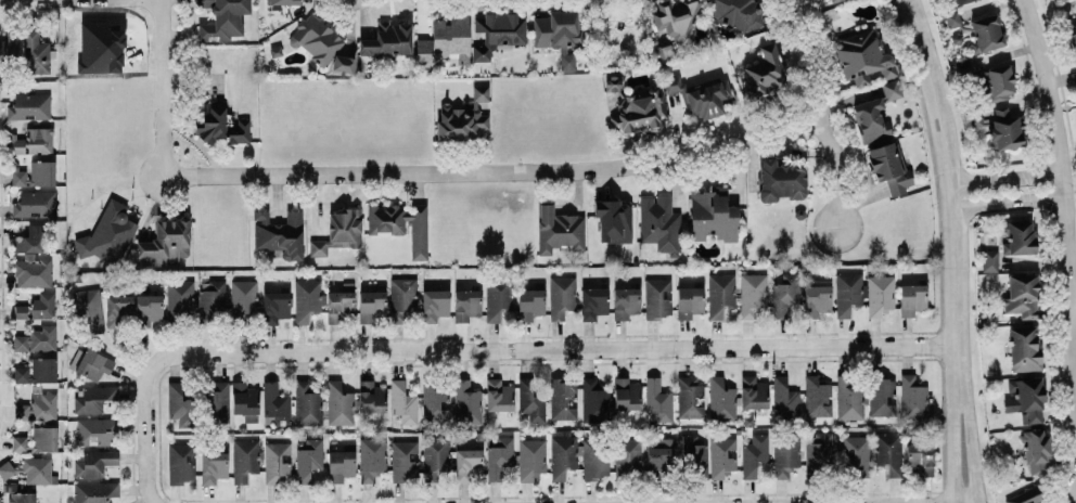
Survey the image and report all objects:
building: (832, 0)
building: (283, 1)
building: (960, 1)
building: (736, 13)
building: (670, 15)
building: (222, 18)
building: (952, 18)
building: (558, 28)
building: (987, 31)
building: (498, 33)
building: (1071, 33)
building: (316, 39)
building: (388, 39)
building: (446, 40)
building: (9, 47)
building: (35, 52)
building: (862, 56)
building: (567, 61)
building: (343, 63)
building: (763, 70)
building: (997, 81)
building: (613, 83)
road: (159, 88)
building: (891, 89)
building: (700, 95)
building: (29, 106)
building: (640, 108)
road: (824, 109)
building: (464, 118)
building: (871, 119)
building: (213, 121)
building: (1001, 126)
building: (239, 131)
park: (1073, 133)
building: (34, 141)
building: (889, 166)
road: (497, 168)
road: (947, 169)
building: (35, 173)
road: (1005, 177)
building: (781, 179)
road: (1065, 203)
building: (35, 204)
road: (1008, 204)
building: (713, 215)
building: (614, 220)
building: (400, 223)
building: (659, 223)
building: (559, 229)
building: (340, 231)
building: (111, 233)
building: (279, 233)
building: (1020, 237)
building: (31, 240)
building: (165, 243)
building: (989, 259)
building: (33, 271)
building: (847, 292)
building: (720, 294)
building: (752, 294)
building: (785, 294)
building: (880, 294)
building: (1022, 295)
building: (497, 296)
building: (561, 296)
building: (657, 297)
building: (817, 297)
building: (179, 298)
building: (243, 298)
building: (306, 298)
building: (912, 298)
building: (401, 300)
building: (87, 301)
building: (212, 301)
building: (593, 301)
building: (626, 301)
building: (689, 301)
building: (530, 302)
building: (434, 304)
building: (466, 304)
building: (42, 305)
building: (338, 305)
building: (371, 305)
building: (276, 306)
road: (1072, 306)
building: (148, 309)
building: (118, 310)
building: (20, 311)
building: (37, 339)
building: (1024, 348)
road: (482, 349)
building: (76, 359)
building: (94, 364)
building: (37, 371)
building: (753, 392)
building: (626, 394)
building: (499, 395)
building: (690, 396)
building: (817, 396)
building: (881, 396)
building: (372, 397)
building: (849, 397)
building: (912, 397)
building: (94, 398)
building: (244, 398)
building: (562, 398)
building: (217, 399)
building: (721, 399)
building: (785, 399)
building: (1026, 399)
building: (402, 400)
building: (530, 400)
building: (657, 400)
building: (434, 401)
building: (593, 401)
building: (466, 402)
building: (180, 403)
building: (307, 403)
building: (340, 403)
building: (43, 404)
building: (276, 404)
building: (22, 411)
road: (952, 423)
road: (966, 423)
building: (95, 430)
building: (44, 438)
building: (20, 442)
building: (818, 450)
building: (1037, 451)
building: (785, 452)
building: (888, 452)
building: (562, 454)
building: (754, 454)
building: (722, 455)
building: (856, 455)
building: (499, 456)
building: (659, 456)
building: (372, 457)
building: (595, 457)
building: (627, 457)
building: (693, 457)
building: (919, 457)
building: (244, 459)
building: (308, 459)
building: (435, 459)
building: (403, 460)
building: (531, 460)
building: (93, 462)
building: (180, 462)
building: (277, 463)
building: (469, 464)
building: (341, 465)
building: (213, 466)
building: (7, 469)
building: (37, 469)
building: (94, 491)
building: (1025, 495)
building: (23, 496)

